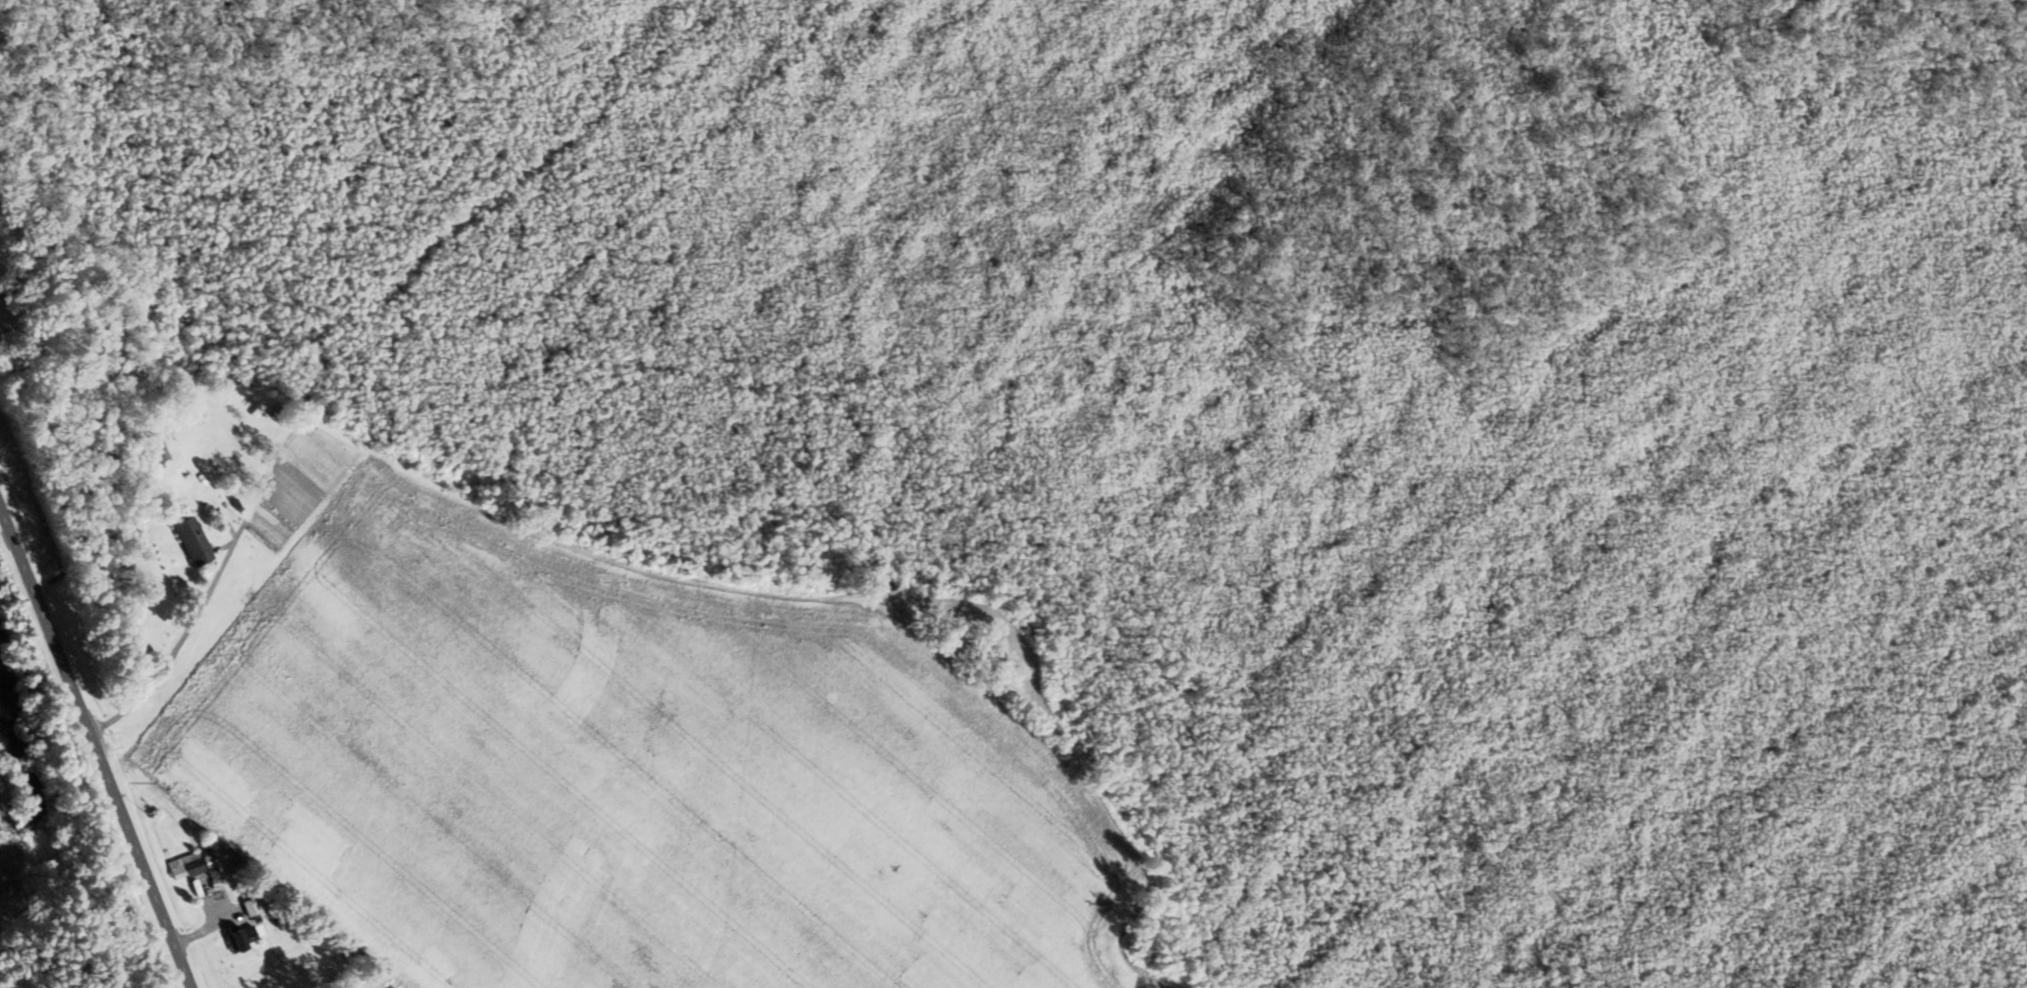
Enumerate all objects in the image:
building: (0, 337)
building: (196, 543)
road: (162, 666)
road: (95, 750)
building: (189, 866)
building: (253, 907)
building: (244, 939)

